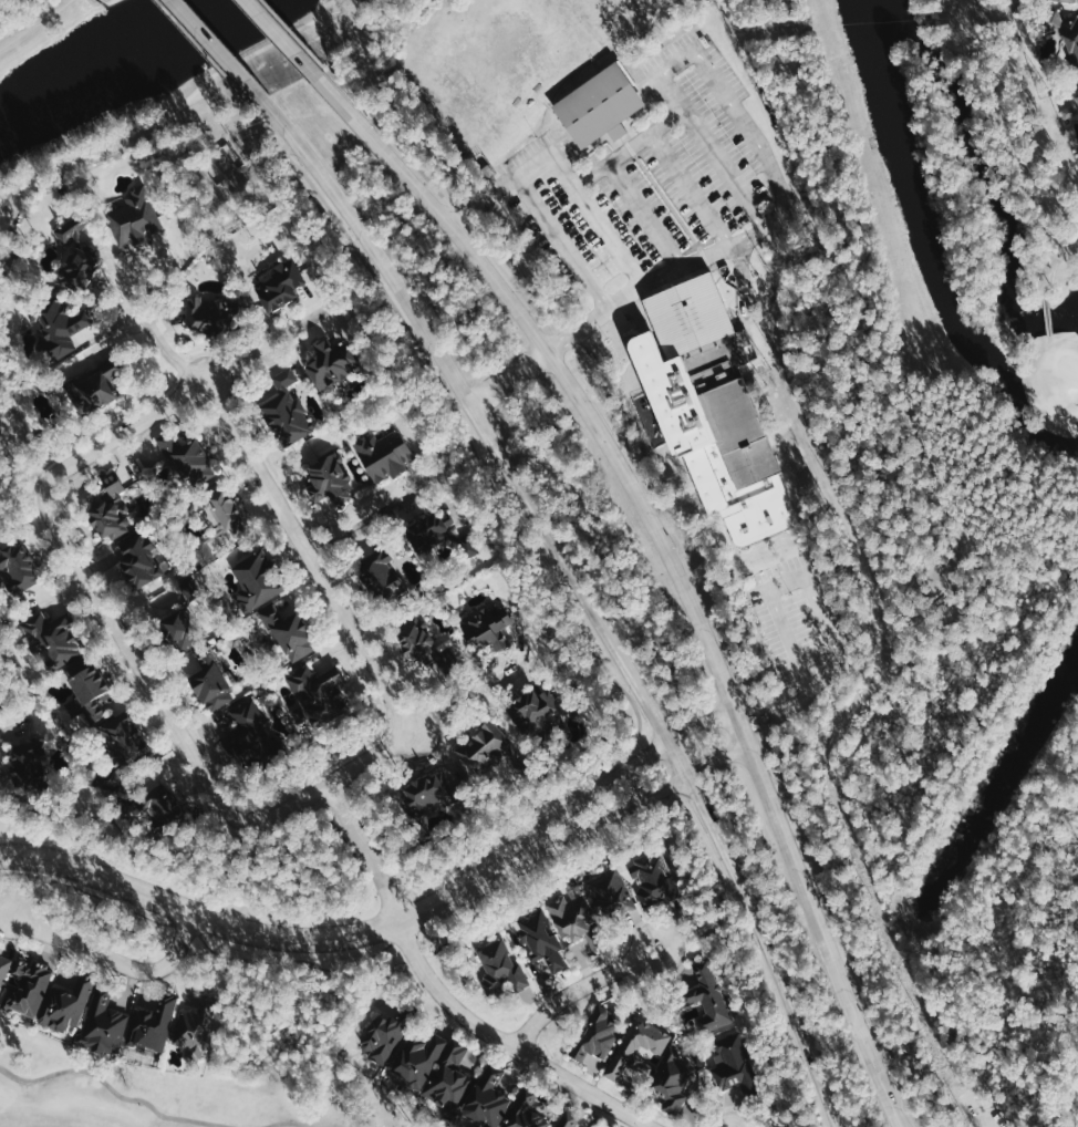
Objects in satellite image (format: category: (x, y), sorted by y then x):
building: (1074, 0)
building: (1064, 31)
road: (293, 33)
road: (282, 35)
park: (515, 39)
road: (218, 48)
road: (204, 51)
road: (715, 81)
building: (1077, 94)
building: (598, 105)
building: (1070, 113)
road: (1009, 135)
road: (725, 165)
road: (257, 172)
parking lot: (654, 186)
road: (690, 188)
park: (1018, 204)
road: (644, 214)
building: (135, 216)
road: (610, 234)
road: (561, 241)
building: (76, 254)
road: (1049, 266)
road: (742, 277)
building: (280, 285)
building: (209, 314)
road: (1046, 314)
building: (56, 324)
road: (156, 338)
road: (266, 343)
building: (331, 363)
park: (1068, 364)
road: (510, 375)
building: (95, 387)
road: (636, 399)
building: (713, 409)
building: (286, 410)
road: (464, 426)
building: (382, 452)
building: (186, 459)
building: (330, 479)
building: (107, 509)
building: (225, 511)
road: (366, 519)
building: (437, 534)
road: (734, 548)
road: (696, 552)
building: (139, 559)
road: (313, 560)
road: (777, 561)
road: (672, 563)
building: (19, 568)
building: (382, 576)
building: (256, 580)
road: (779, 585)
road: (582, 592)
parking lot: (798, 616)
building: (182, 621)
building: (487, 628)
building: (288, 633)
building: (53, 637)
building: (422, 644)
road: (132, 655)
road: (825, 675)
building: (210, 680)
building: (84, 691)
building: (317, 693)
road: (469, 694)
road: (800, 699)
building: (535, 710)
building: (252, 741)
building: (116, 743)
building: (490, 749)
building: (27, 763)
road: (603, 784)
road: (196, 788)
building: (426, 798)
building: (159, 806)
road: (615, 811)
road: (514, 818)
building: (649, 878)
building: (611, 895)
road: (216, 921)
building: (578, 922)
building: (542, 941)
road: (204, 943)
building: (4, 959)
road: (113, 959)
building: (498, 970)
building: (25, 986)
road: (579, 986)
road: (445, 994)
building: (709, 1002)
building: (64, 1005)
building: (101, 1017)
building: (149, 1025)
building: (194, 1032)
building: (381, 1036)
building: (595, 1037)
building: (624, 1046)
building: (414, 1063)
building: (732, 1065)
building: (446, 1078)
building: (672, 1079)
road: (113, 1090)
park: (160, 1095)
building: (488, 1098)
building: (526, 1113)
building: (566, 1121)
road: (304, 1123)

